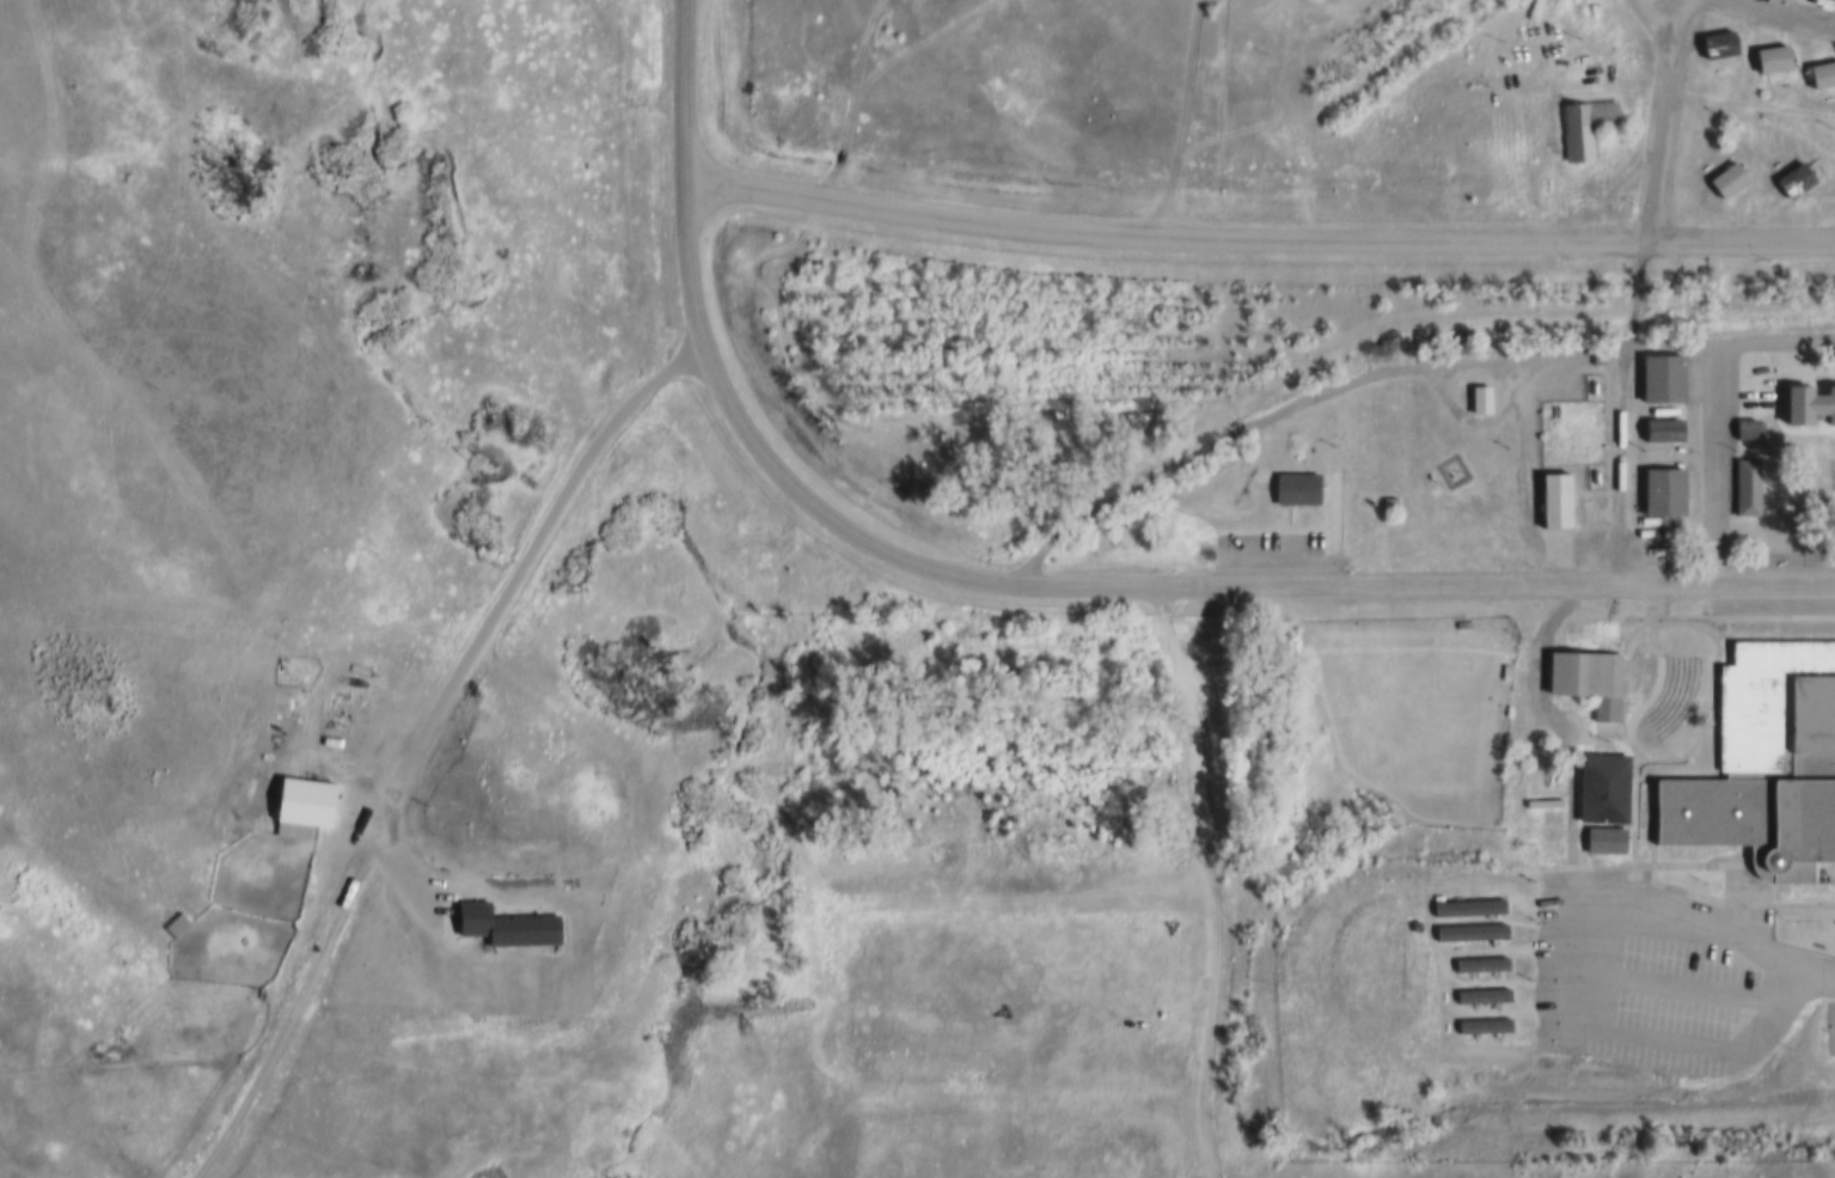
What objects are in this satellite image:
road: (1749, 7)
building: (1715, 42)
building: (1769, 59)
building: (1821, 74)
road: (830, 84)
road: (684, 87)
road: (1663, 112)
building: (1582, 123)
building: (1792, 177)
building: (1725, 179)
road: (1259, 242)
road: (488, 315)
road: (1776, 344)
building: (1659, 379)
road: (1533, 385)
building: (1478, 399)
building: (1806, 407)
road: (1258, 421)
building: (1747, 426)
building: (1660, 428)
road: (1720, 464)
building: (1744, 484)
building: (1293, 488)
building: (1660, 490)
building: (1552, 501)
building: (1818, 507)
parking lot: (1273, 549)
road: (1778, 579)
road: (1068, 592)
road: (496, 615)
building: (1461, 622)
building: (1589, 629)
building: (1504, 667)
building: (1583, 677)
park: (1412, 707)
building: (1766, 765)
building: (1601, 787)
building: (301, 806)
building: (1602, 838)
road: (1222, 879)
building: (1466, 905)
building: (1467, 928)
building: (500, 929)
building: (1479, 962)
road: (1821, 964)
parking lot: (1662, 972)
road: (1668, 978)
building: (1480, 990)
road: (1540, 993)
park: (1830, 1015)
building: (1481, 1020)
road: (277, 1050)

